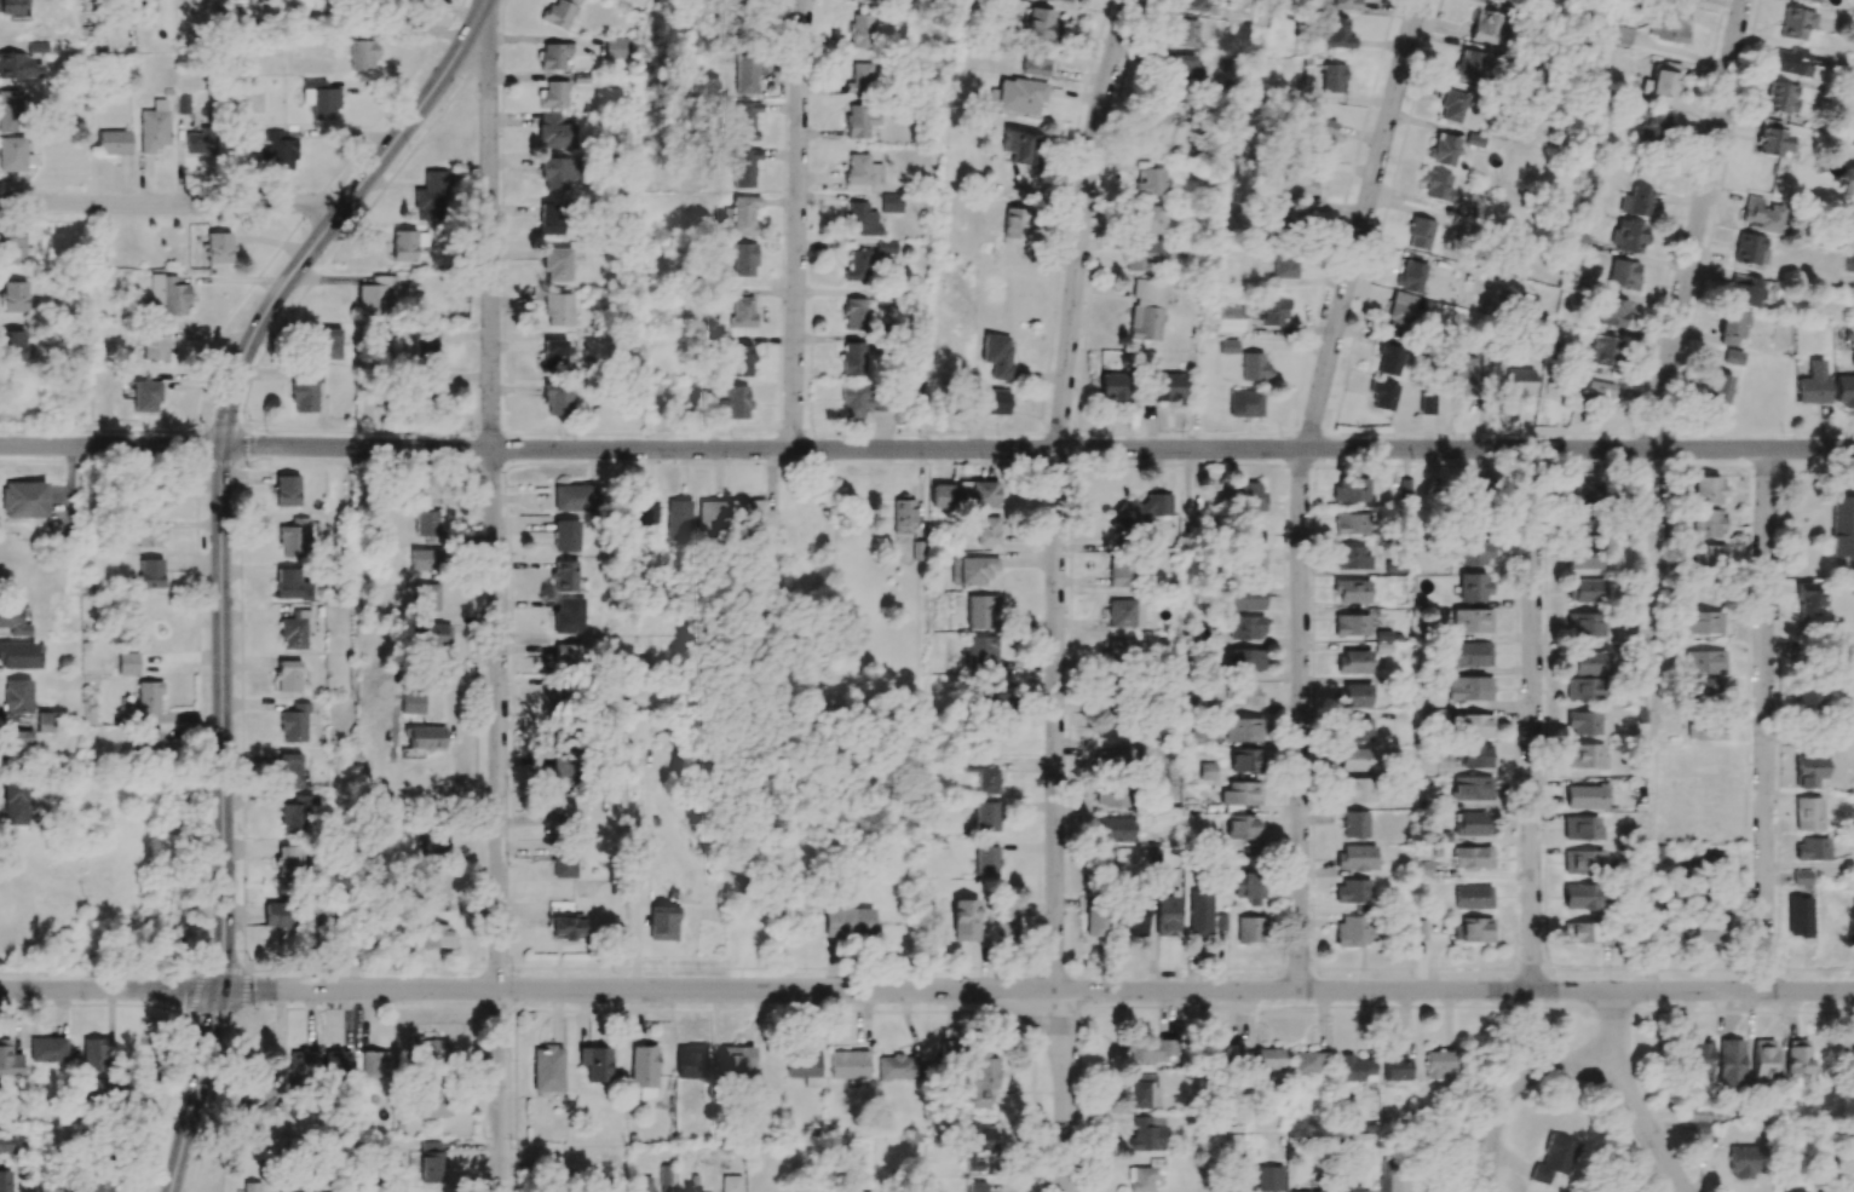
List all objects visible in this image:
building: (1688, 0)
building: (575, 1)
building: (870, 1)
building: (1061, 1)
building: (1502, 1)
building: (1810, 1)
building: (1346, 4)
building: (1191, 5)
building: (13, 7)
road: (484, 10)
building: (558, 15)
building: (1038, 23)
building: (1796, 23)
building: (1672, 25)
building: (862, 31)
building: (1338, 33)
building: (1182, 34)
building: (616, 48)
building: (363, 54)
building: (554, 56)
building: (1033, 62)
building: (1791, 63)
building: (1468, 64)
building: (18, 65)
building: (1181, 68)
building: (744, 75)
building: (1332, 77)
building: (860, 79)
building: (1662, 81)
building: (553, 96)
building: (1019, 96)
building: (1780, 98)
building: (321, 99)
building: (1452, 106)
building: (10, 111)
building: (744, 120)
building: (860, 120)
building: (1652, 123)
building: (1850, 125)
building: (154, 127)
building: (554, 132)
building: (1159, 132)
building: (1320, 133)
building: (1772, 138)
building: (200, 140)
building: (114, 142)
building: (1444, 149)
building: (278, 151)
building: (13, 154)
building: (743, 167)
building: (863, 169)
building: (557, 173)
building: (1148, 182)
building: (1301, 182)
building: (1436, 185)
building: (430, 196)
building: (892, 202)
building: (1635, 202)
road: (172, 203)
building: (1761, 214)
building: (738, 215)
building: (1295, 217)
building: (551, 219)
building: (1148, 219)
building: (862, 220)
road: (332, 224)
road: (798, 224)
building: (1014, 224)
road: (1363, 224)
road: (1697, 224)
building: (1420, 234)
building: (1628, 236)
building: (404, 246)
building: (11, 247)
building: (886, 247)
building: (219, 248)
building: (1749, 249)
building: (1141, 255)
building: (744, 260)
building: (1285, 263)
building: (1848, 263)
building: (557, 264)
building: (858, 266)
building: (1623, 275)
building: (1411, 276)
building: (1744, 290)
building: (169, 294)
building: (378, 295)
building: (13, 296)
building: (558, 310)
building: (1146, 310)
building: (1274, 310)
building: (742, 312)
building: (1400, 312)
building: (854, 313)
building: (1612, 313)
building: (1731, 328)
building: (155, 344)
building: (328, 344)
building: (426, 344)
building: (11, 346)
building: (1602, 351)
building: (554, 353)
building: (997, 355)
building: (1732, 357)
building: (853, 358)
building: (1389, 359)
building: (741, 361)
building: (1251, 367)
building: (1463, 376)
building: (1518, 382)
building: (1813, 385)
building: (1112, 387)
building: (1164, 387)
building: (1716, 388)
building: (1593, 390)
building: (1843, 391)
building: (145, 393)
building: (1381, 395)
building: (304, 396)
building: (557, 398)
building: (859, 401)
building: (737, 402)
building: (992, 402)
building: (1245, 404)
building: (1427, 404)
street lamp: (1536, 434)
street lamp: (1635, 436)
road: (113, 447)
road: (1038, 450)
street lamp: (1413, 461)
building: (1480, 486)
building: (426, 489)
building: (287, 490)
building: (1352, 490)
building: (1708, 490)
building: (1582, 493)
building: (978, 494)
road: (1055, 494)
building: (944, 496)
building: (1248, 496)
building: (574, 499)
building: (23, 500)
building: (750, 514)
building: (1139, 514)
building: (644, 516)
building: (904, 517)
building: (678, 519)
building: (709, 520)
building: (426, 523)
building: (1352, 524)
building: (1706, 524)
building: (1582, 525)
building: (1842, 526)
building: (148, 530)
building: (988, 530)
building: (1250, 532)
building: (565, 536)
building: (295, 537)
building: (1476, 553)
building: (1708, 555)
building: (1583, 557)
building: (1351, 558)
building: (425, 559)
building: (1254, 560)
building: (972, 570)
building: (151, 574)
building: (1121, 574)
building: (565, 576)
building: (292, 585)
building: (1473, 587)
building: (1352, 591)
building: (1584, 591)
building: (427, 597)
building: (1244, 598)
building: (1808, 600)
road: (497, 605)
building: (981, 611)
building: (1125, 614)
building: (569, 616)
building: (1472, 621)
building: (13, 622)
building: (1704, 622)
building: (1351, 624)
building: (1583, 624)
building: (1245, 626)
building: (294, 630)
building: (434, 633)
building: (1121, 649)
building: (981, 652)
building: (1469, 653)
building: (568, 655)
building: (1246, 660)
building: (1353, 662)
building: (1704, 662)
building: (128, 663)
building: (1584, 663)
building: (288, 676)
building: (1469, 689)
building: (1583, 689)
building: (1705, 690)
building: (1240, 693)
building: (558, 695)
building: (1355, 695)
building: (17, 696)
building: (149, 697)
building: (1808, 698)
building: (413, 703)
road: (223, 720)
road: (1300, 720)
road: (1532, 720)
road: (1652, 720)
road: (1764, 720)
building: (44, 721)
building: (1583, 722)
building: (294, 724)
building: (1474, 726)
building: (1705, 729)
building: (1110, 730)
building: (1242, 730)
building: (1355, 730)
building: (563, 735)
building: (425, 737)
building: (18, 742)
building: (148, 742)
building: (1474, 755)
building: (1583, 755)
building: (1104, 756)
building: (1353, 759)
building: (1244, 760)
building: (288, 768)
building: (563, 771)
building: (1807, 771)
building: (981, 772)
building: (1472, 788)
building: (1355, 790)
building: (1112, 794)
building: (1240, 794)
building: (1700, 794)
building: (1585, 796)
building: (15, 802)
building: (568, 802)
building: (1807, 814)
building: (296, 816)
building: (986, 816)
building: (1354, 824)
building: (1470, 824)
building: (1240, 827)
building: (1582, 828)
building: (1113, 829)
building: (1709, 833)
building: (1672, 834)
building: (433, 840)
building: (1812, 848)
building: (1355, 857)
building: (1472, 857)
building: (986, 860)
building: (1583, 862)
building: (1711, 862)
building: (289, 863)
building: (564, 863)
building: (1801, 877)
building: (1245, 886)
building: (436, 892)
building: (1352, 892)
building: (848, 897)
building: (1472, 897)
building: (1583, 897)
building: (1197, 914)
building: (280, 915)
building: (1164, 915)
building: (1798, 916)
building: (1133, 919)
building: (564, 920)
building: (965, 920)
building: (1004, 920)
building: (662, 922)
building: (848, 922)
building: (1095, 922)
building: (1248, 929)
building: (1420, 929)
building: (1475, 929)
building: (1357, 931)
building: (1698, 931)
building: (1582, 932)
building: (436, 935)
road: (109, 990)
road: (637, 990)
road: (1453, 991)
road: (1613, 1030)
building: (428, 1048)
building: (47, 1049)
building: (1151, 1052)
building: (1220, 1053)
building: (94, 1054)
building: (1702, 1055)
building: (1798, 1056)
building: (8, 1059)
building: (1268, 1059)
building: (736, 1060)
building: (1763, 1060)
building: (1852, 1060)
building: (301, 1061)
building: (338, 1061)
building: (690, 1061)
building: (595, 1063)
building: (1306, 1063)
road: (1574, 1063)
building: (1732, 1063)
building: (373, 1064)
building: (850, 1064)
building: (1436, 1064)
building: (805, 1067)
building: (899, 1067)
building: (1394, 1067)
building: (547, 1069)
building: (1354, 1069)
building: (643, 1070)
building: (980, 1081)
building: (96, 1089)
road: (196, 1092)
road: (1066, 1093)
building: (1144, 1095)
building: (258, 1100)
building: (430, 1105)
building: (1147, 1133)
building: (6, 1144)
building: (977, 1145)
building: (1554, 1159)
building: (431, 1162)
building: (1743, 1163)
building: (1144, 1176)
building: (1269, 1179)
building: (4, 1181)
building: (98, 1184)
building: (644, 1184)
building: (730, 1184)
building: (1398, 1184)
building: (50, 1185)
building: (251, 1187)
building: (977, 1187)
building: (840, 1188)
building: (1853, 1188)
building: (1228, 1190)
building: (1353, 1190)
building: (1306, 1191)

